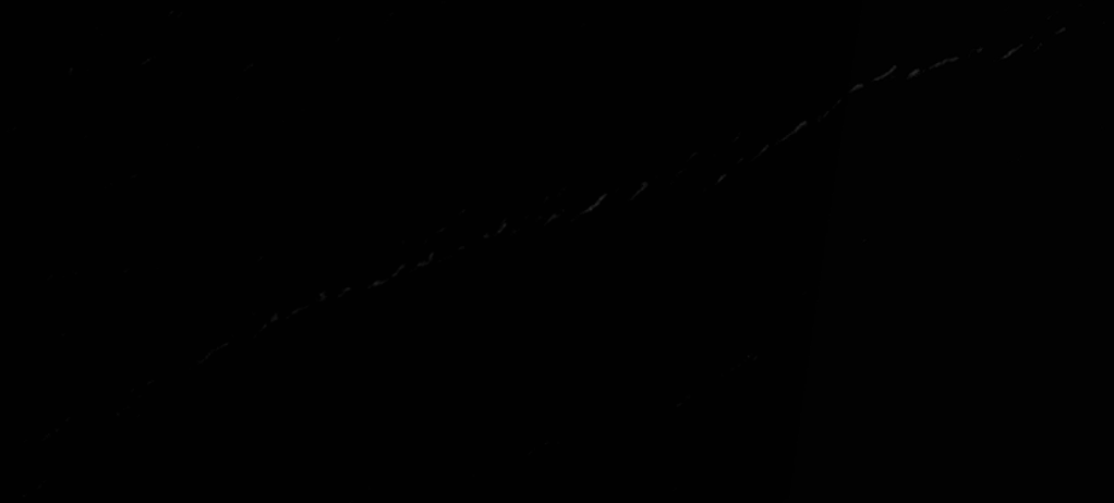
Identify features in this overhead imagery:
river: (1051, 273)

